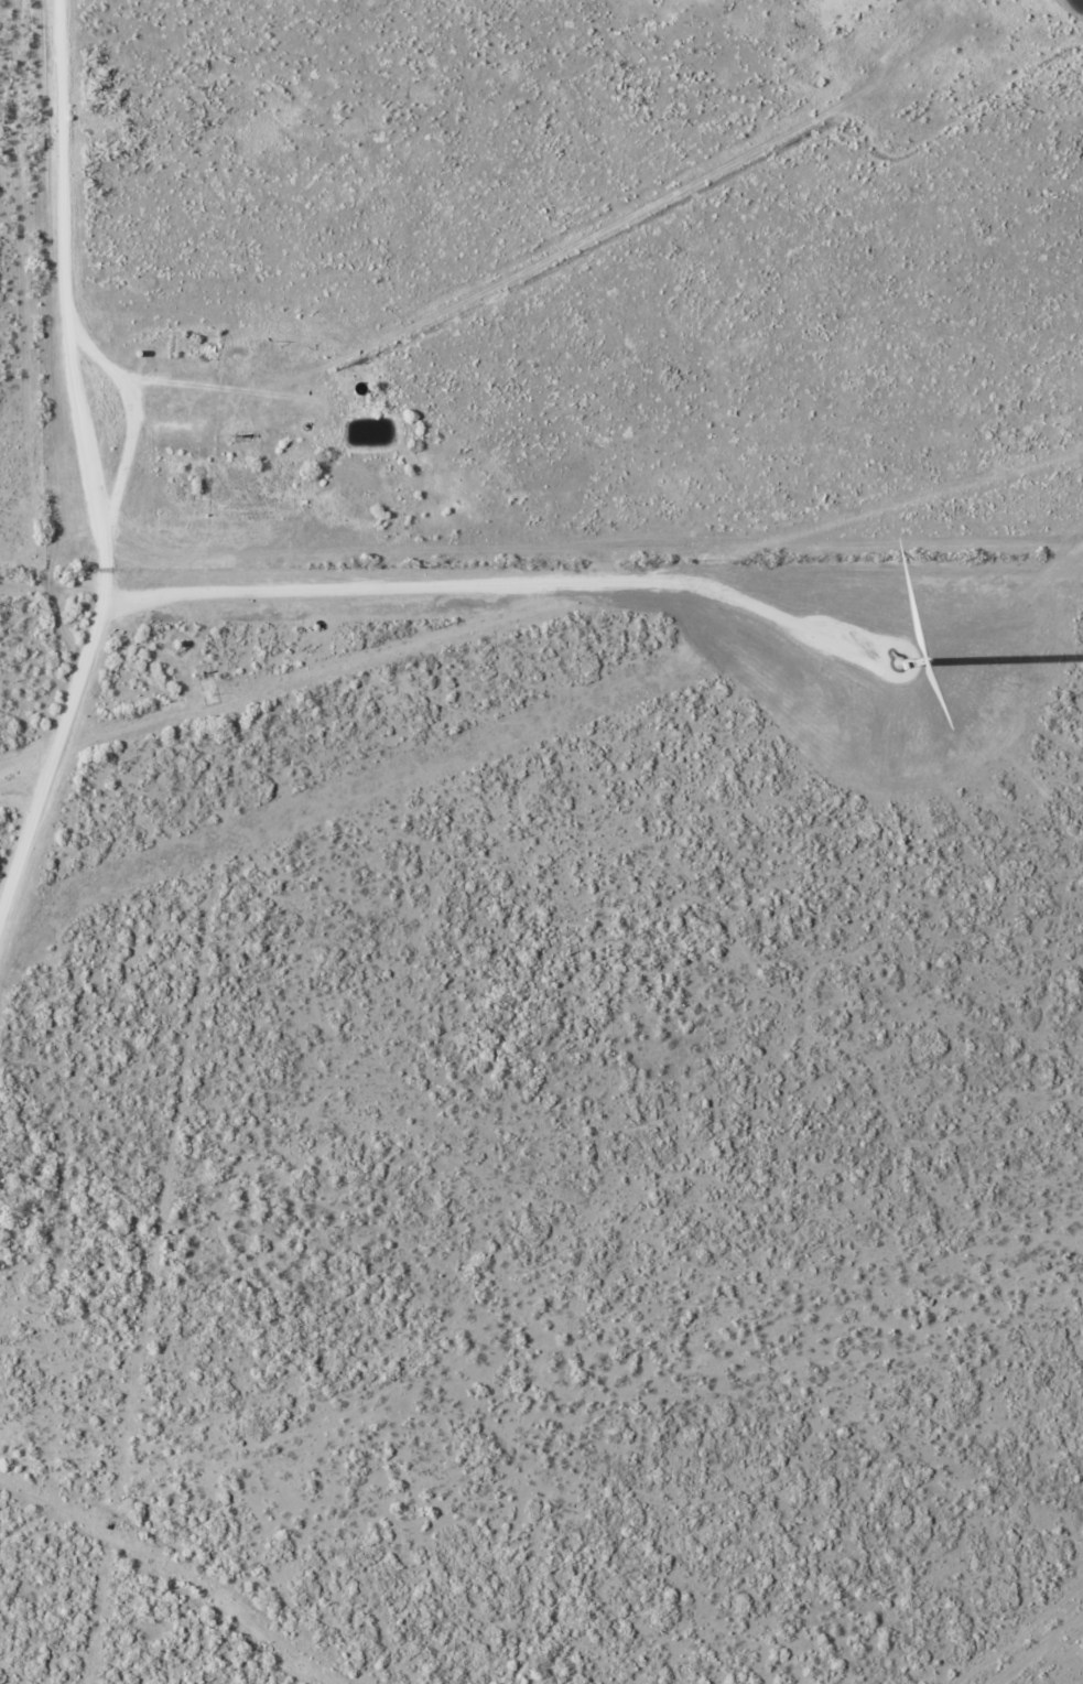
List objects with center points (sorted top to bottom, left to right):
wind turbine: (901, 669)

